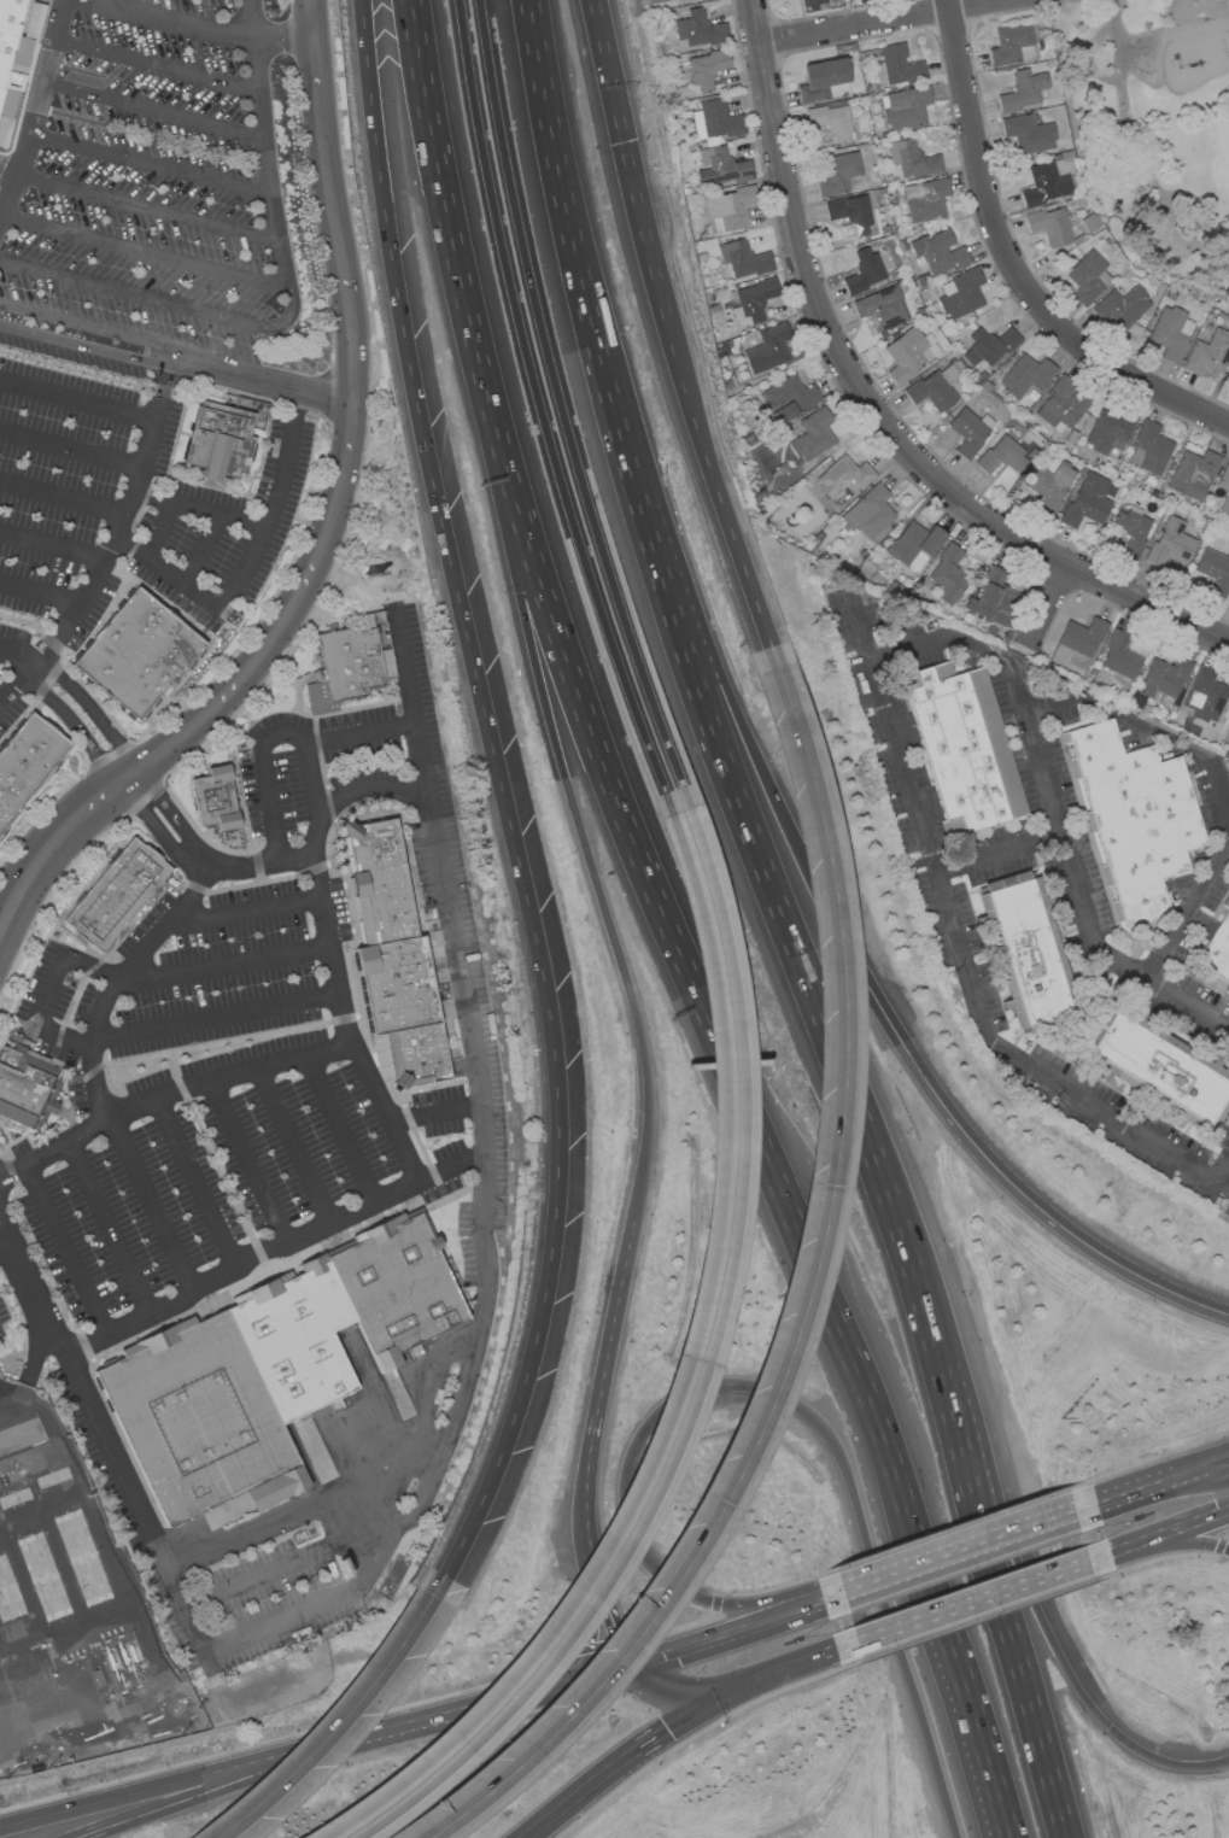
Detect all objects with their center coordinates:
building: (673, 0)
building: (810, 1)
road: (874, 21)
road: (205, 24)
building: (7, 29)
building: (697, 29)
road: (1171, 34)
building: (1011, 43)
road: (146, 63)
building: (899, 64)
building: (706, 68)
building: (823, 80)
road: (22, 89)
building: (1022, 89)
building: (903, 106)
road: (144, 107)
building: (714, 119)
building: (830, 119)
road: (6, 127)
park: (1153, 131)
building: (1026, 134)
road: (262, 144)
road: (1139, 153)
road: (631, 157)
building: (911, 158)
road: (140, 162)
building: (721, 165)
building: (835, 171)
building: (1043, 183)
building: (924, 199)
road: (139, 207)
building: (728, 207)
building: (849, 213)
road: (450, 222)
building: (1048, 226)
road: (144, 250)
building: (938, 251)
building: (742, 258)
road: (1009, 268)
building: (862, 270)
building: (1087, 277)
building: (960, 293)
building: (754, 298)
road: (160, 302)
building: (1119, 306)
building: (880, 308)
road: (87, 326)
building: (1169, 333)
road: (84, 345)
building: (988, 345)
building: (767, 347)
building: (908, 353)
building: (1207, 353)
road: (92, 373)
building: (1025, 375)
road: (261, 381)
building: (934, 387)
road: (560, 396)
road: (77, 397)
building: (788, 397)
road: (539, 399)
building: (1059, 404)
road: (874, 409)
road: (619, 426)
building: (1107, 428)
road: (350, 431)
building: (968, 431)
building: (809, 434)
building: (223, 440)
building: (1147, 447)
road: (70, 449)
building: (1001, 455)
building: (1192, 473)
building: (842, 476)
building: (1048, 484)
road: (716, 485)
road: (64, 496)
building: (1085, 499)
building: (868, 513)
road: (134, 522)
road: (262, 523)
road: (158, 527)
building: (1130, 531)
building: (1169, 542)
road: (53, 544)
road: (112, 544)
building: (913, 544)
road: (200, 550)
building: (1213, 570)
building: (946, 573)
road: (543, 581)
road: (42, 591)
road: (201, 601)
road: (1044, 601)
road: (864, 636)
building: (1081, 636)
road: (715, 646)
road: (62, 651)
building: (136, 654)
building: (1118, 655)
road: (21, 656)
building: (357, 668)
road: (404, 671)
building: (1163, 677)
building: (1204, 695)
road: (92, 713)
building: (1228, 726)
road: (74, 728)
building: (962, 747)
road: (264, 761)
building: (27, 768)
road: (906, 774)
road: (367, 789)
road: (503, 791)
building: (216, 802)
road: (172, 816)
building: (1134, 816)
road: (157, 831)
road: (583, 831)
road: (51, 845)
road: (1001, 855)
road: (294, 856)
building: (118, 897)
road: (1187, 905)
road: (1083, 908)
road: (245, 911)
building: (1217, 948)
building: (1024, 949)
building: (403, 961)
road: (220, 964)
road: (332, 973)
road: (47, 994)
road: (212, 1020)
building: (1158, 1070)
road: (224, 1078)
building: (23, 1090)
road: (435, 1116)
road: (341, 1131)
road: (294, 1149)
parking lot: (213, 1164)
road: (250, 1166)
road: (13, 1170)
road: (1000, 1172)
road: (1, 1173)
road: (773, 1173)
road: (1, 1177)
road: (197, 1188)
road: (152, 1207)
road: (109, 1228)
road: (4, 1233)
road: (64, 1251)
road: (274, 1255)
road: (803, 1307)
road: (614, 1318)
building: (1, 1333)
road: (926, 1333)
road: (29, 1364)
road: (708, 1368)
building: (271, 1369)
road: (685, 1376)
road: (778, 1395)
road: (1206, 1461)
traffic signals: (1183, 1470)
road: (1206, 1471)
road: (586, 1485)
road: (1130, 1488)
road: (300, 1508)
road: (1160, 1533)
road: (1160, 1544)
road: (962, 1549)
road: (1022, 1561)
road: (299, 1562)
road: (977, 1598)
road: (605, 1612)
road: (293, 1620)
road: (742, 1628)
road: (794, 1663)
traffic signals: (637, 1666)
road: (678, 1690)
traffic signals: (727, 1690)
road: (528, 1699)
road: (344, 1715)
building: (171, 1716)
road: (983, 1734)
road: (357, 1742)
road: (624, 1758)
road: (147, 1790)
road: (188, 1798)

